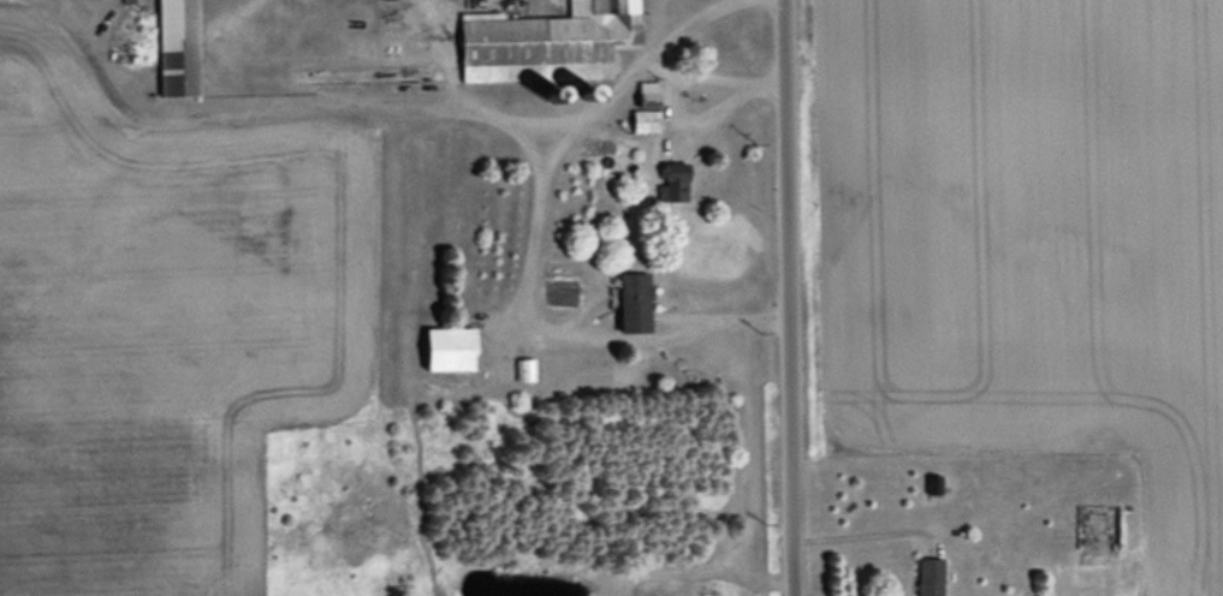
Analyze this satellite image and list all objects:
building: (548, 44)
building: (179, 47)
building: (647, 107)
building: (675, 181)
road: (798, 297)
building: (635, 300)
building: (450, 347)
building: (1097, 532)
building: (930, 576)

